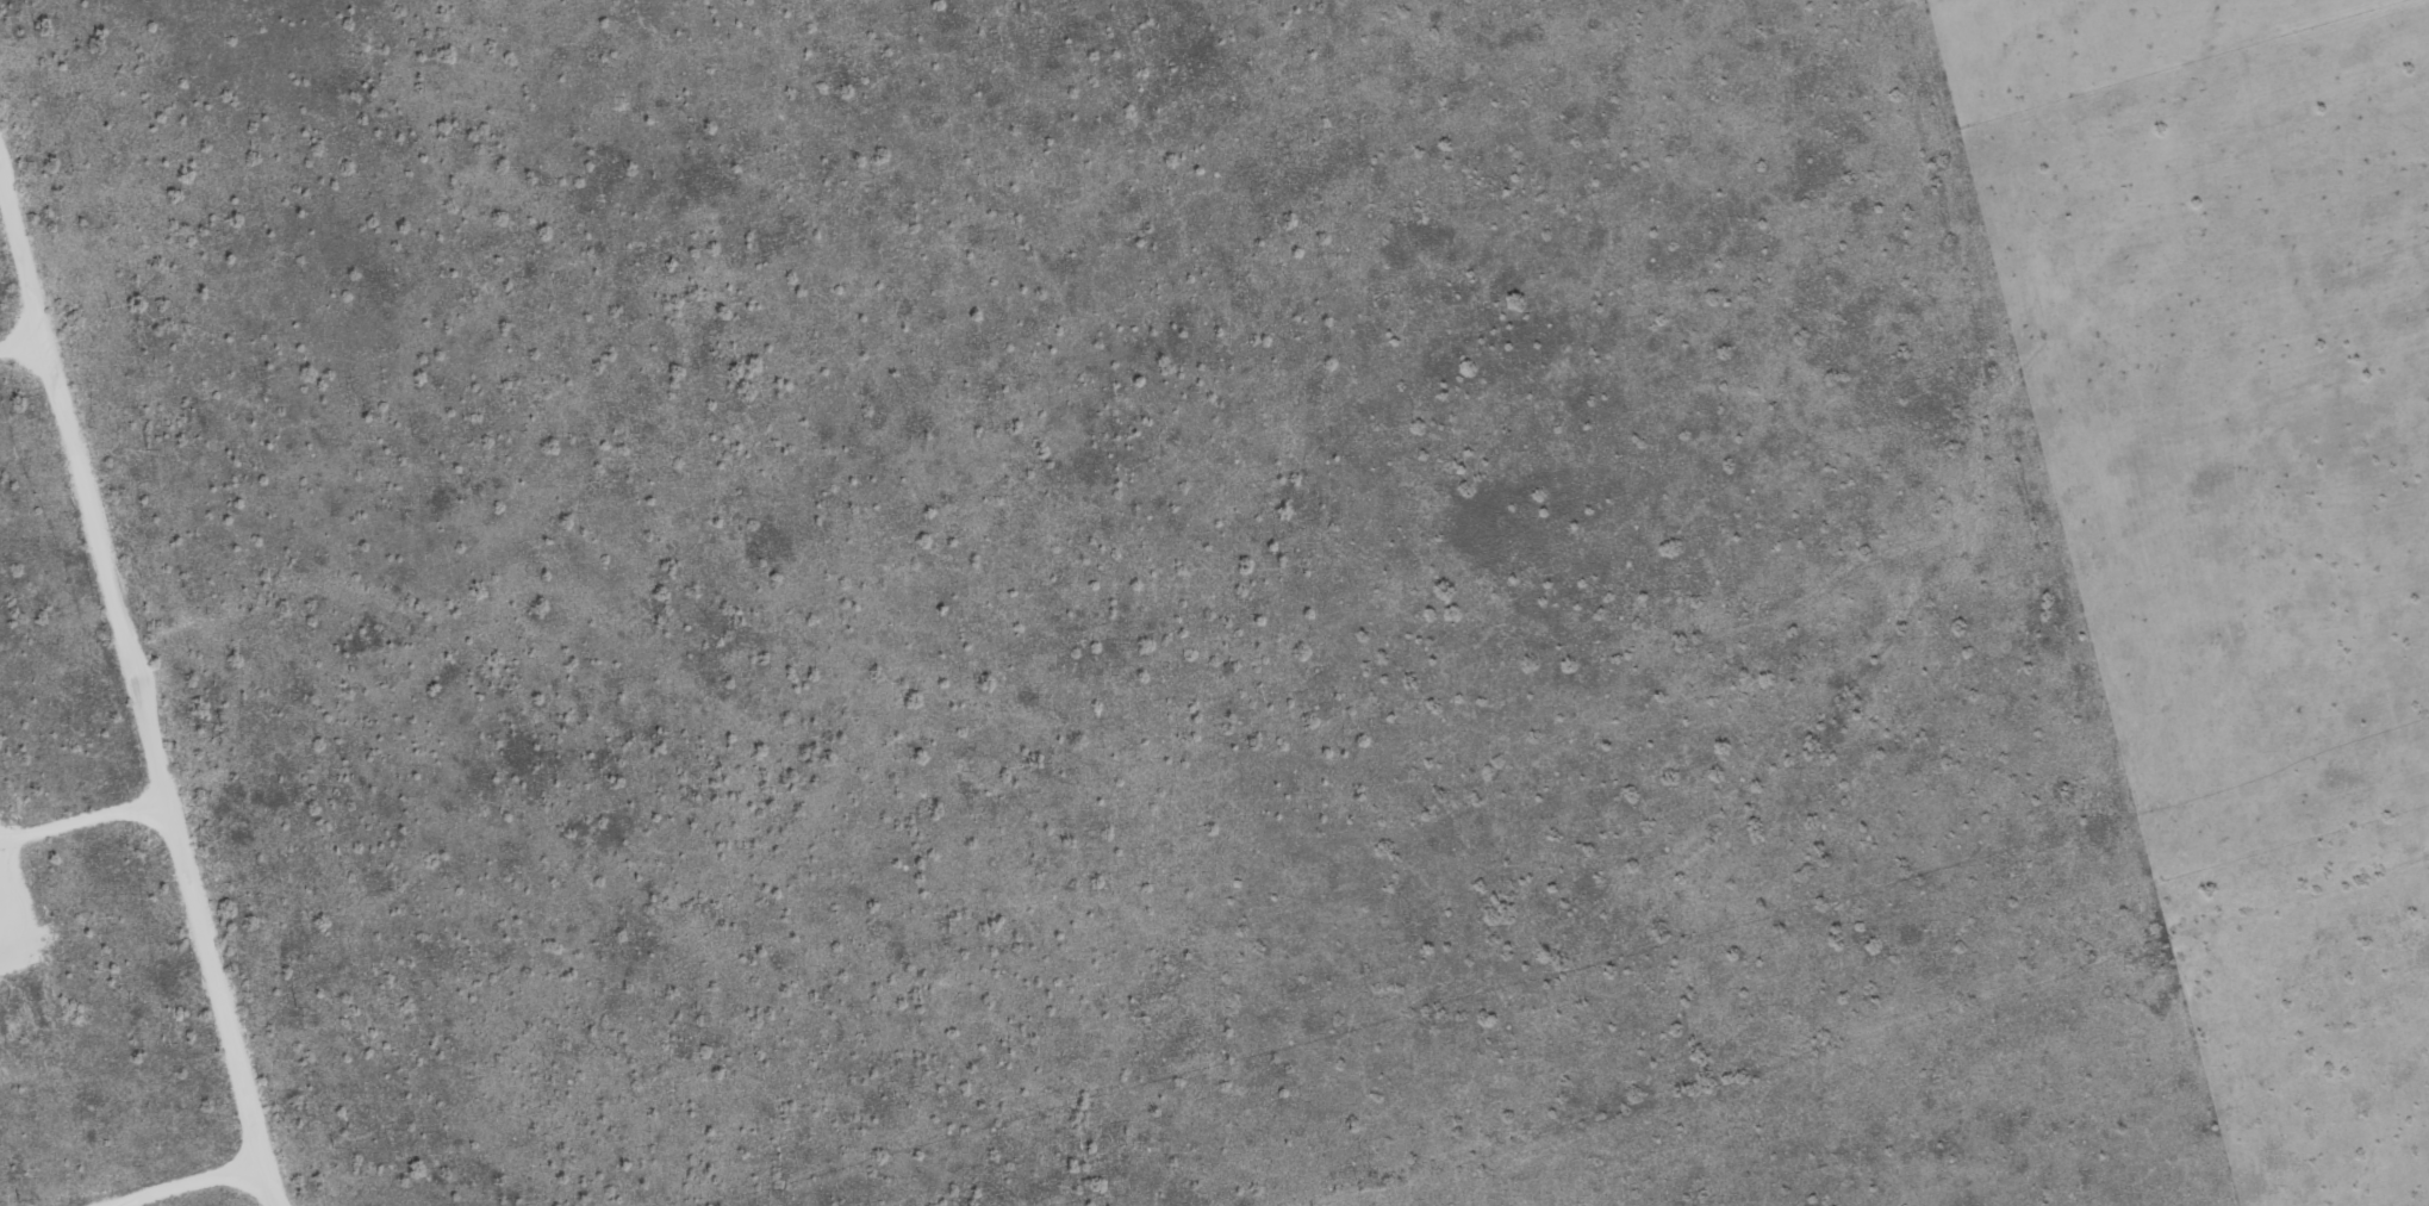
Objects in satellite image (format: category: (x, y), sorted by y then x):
road: (136, 660)

